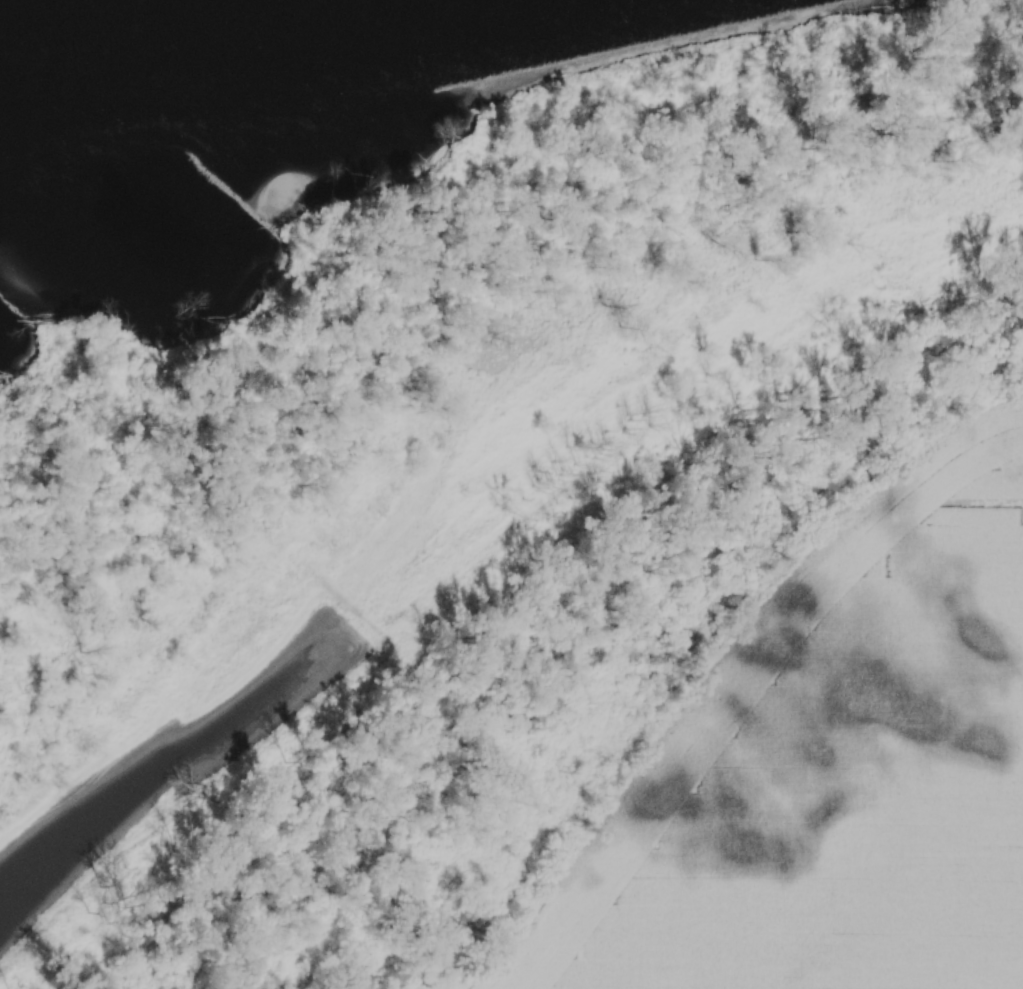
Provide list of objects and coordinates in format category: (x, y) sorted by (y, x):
river: (56, 21)

